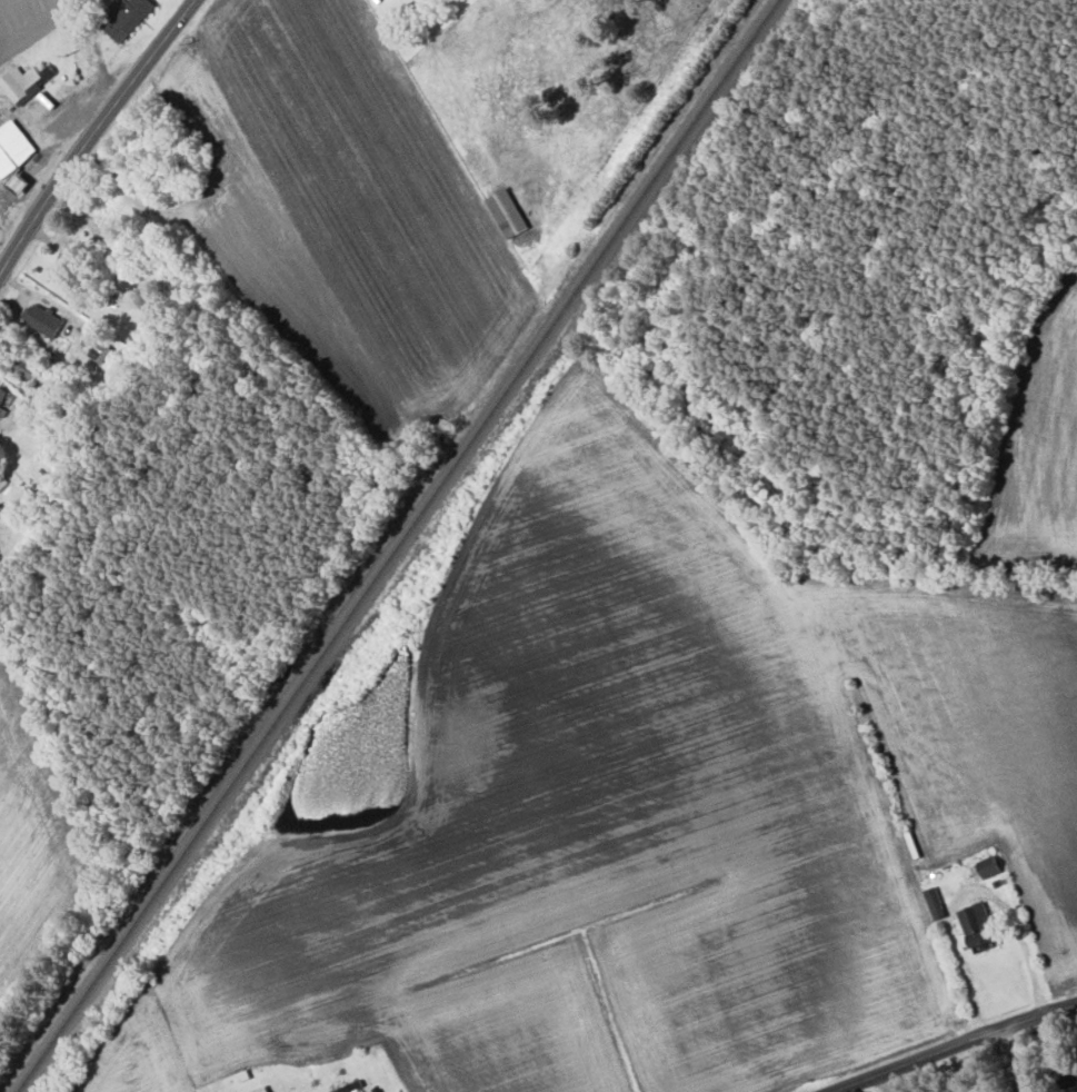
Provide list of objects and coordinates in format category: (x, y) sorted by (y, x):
building: (127, 18)
building: (23, 82)
road: (94, 135)
building: (13, 148)
building: (507, 214)
building: (67, 268)
building: (44, 320)
building: (100, 351)
building: (2, 400)
railway: (397, 545)
building: (990, 865)
road: (967, 892)
building: (979, 925)
road: (957, 1049)
road: (1016, 1061)
building: (259, 1090)
building: (271, 1091)

